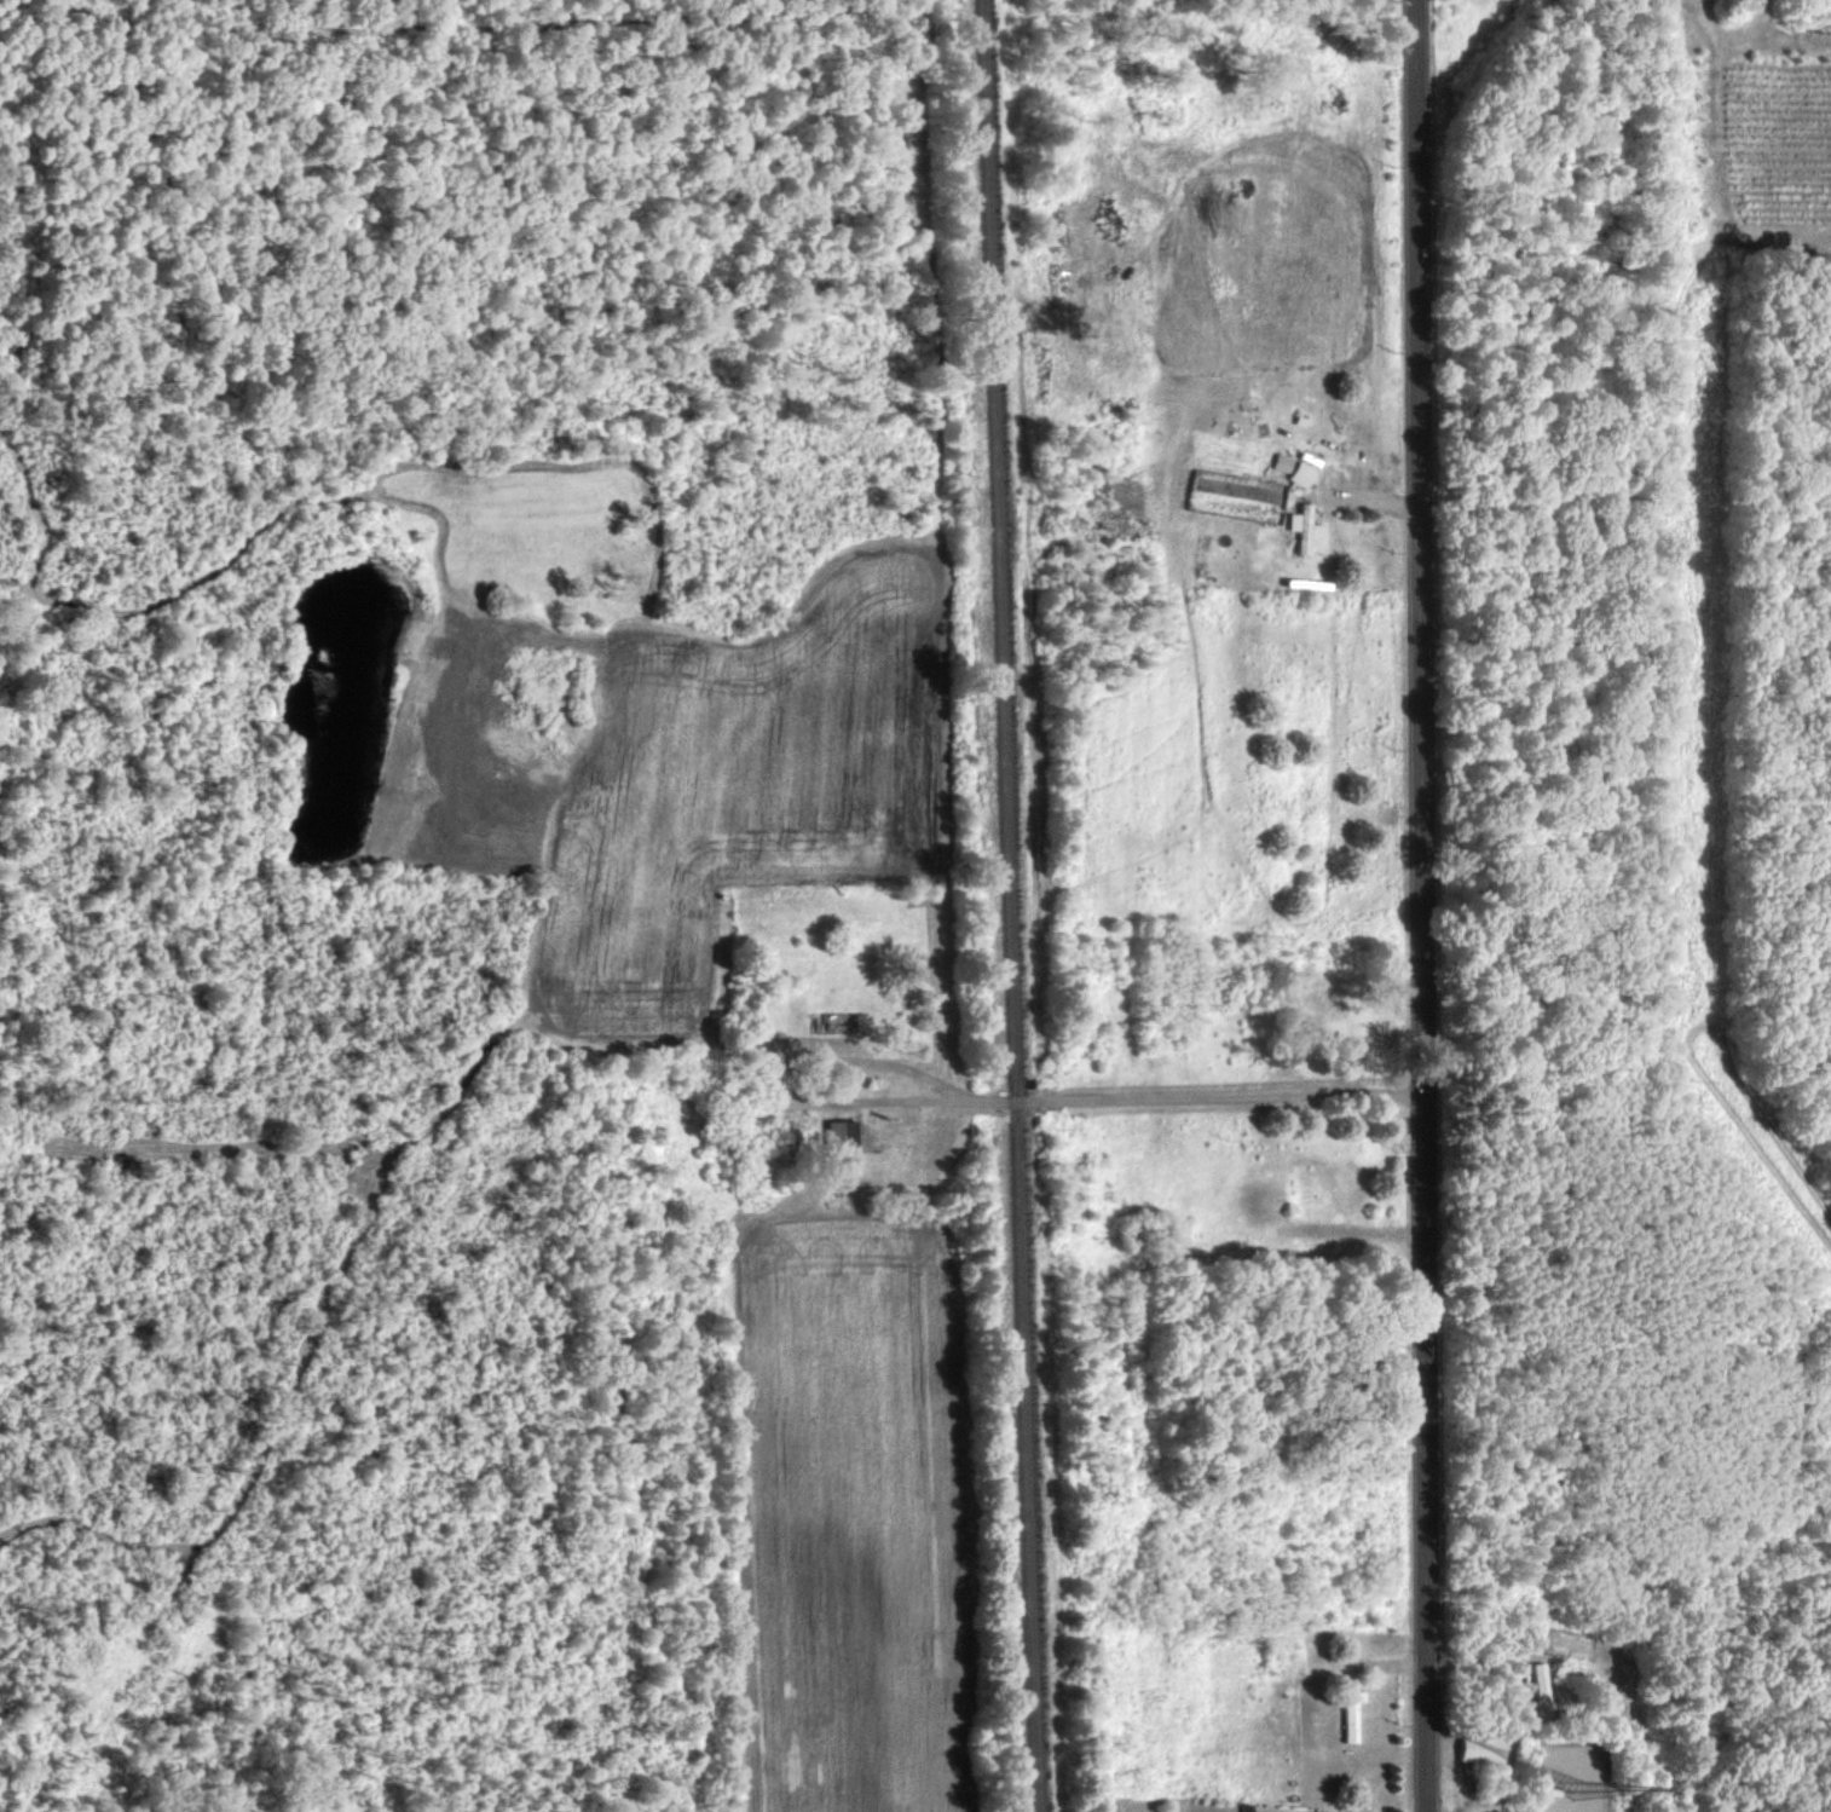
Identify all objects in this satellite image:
building: (1301, 473)
railway: (1009, 906)
road: (1420, 906)
road: (1117, 1102)
building: (842, 1133)
road: (1537, 1646)
building: (1540, 1689)
building: (1351, 1712)
building: (1480, 1748)

